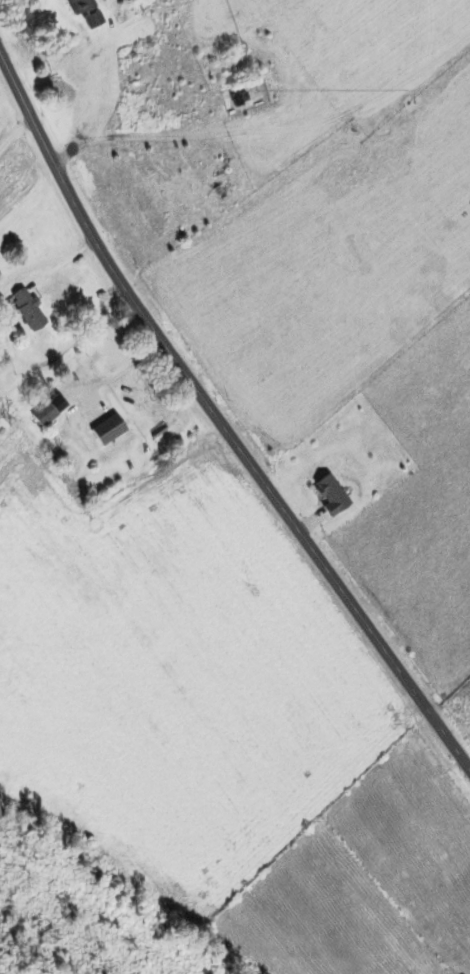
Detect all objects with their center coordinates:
building: (79, 6)
building: (239, 98)
building: (147, 213)
road: (30, 219)
building: (27, 309)
road: (220, 420)

